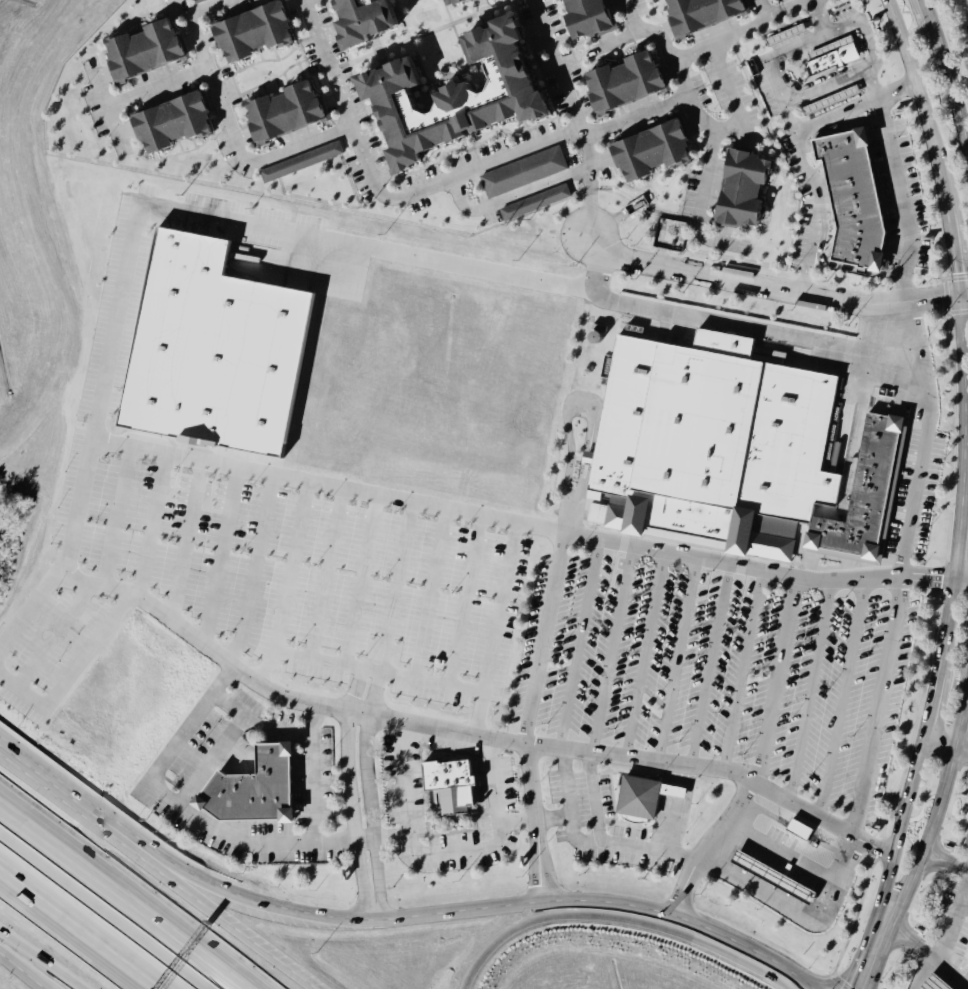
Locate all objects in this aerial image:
building: (199, 1)
road: (809, 1)
road: (812, 1)
building: (467, 2)
road: (795, 6)
road: (213, 8)
building: (708, 14)
building: (592, 18)
road: (817, 18)
road: (928, 18)
building: (375, 21)
road: (744, 28)
building: (260, 32)
road: (646, 35)
road: (867, 40)
building: (151, 50)
road: (777, 56)
building: (836, 56)
road: (324, 64)
road: (558, 68)
building: (632, 82)
road: (160, 84)
road: (827, 85)
road: (895, 90)
road: (953, 96)
building: (466, 97)
building: (830, 101)
building: (290, 112)
road: (834, 114)
road: (787, 116)
building: (179, 123)
road: (729, 128)
road: (519, 150)
building: (659, 152)
building: (303, 163)
building: (525, 173)
road: (590, 178)
road: (420, 187)
building: (750, 189)
road: (898, 198)
building: (849, 200)
building: (537, 203)
road: (589, 212)
road: (817, 212)
road: (145, 223)
road: (951, 255)
road: (772, 290)
road: (732, 329)
building: (214, 350)
road: (580, 404)
building: (709, 446)
road: (332, 484)
parking lot: (913, 494)
building: (862, 498)
road: (572, 534)
road: (956, 548)
road: (960, 577)
road: (102, 584)
road: (945, 627)
road: (577, 644)
road: (610, 650)
road: (644, 655)
road: (675, 661)
road: (709, 666)
parking lot: (714, 670)
road: (740, 671)
road: (82, 672)
road: (881, 679)
road: (775, 681)
road: (809, 691)
road: (840, 699)
road: (930, 706)
road: (275, 729)
road: (438, 730)
road: (938, 743)
road: (222, 747)
road: (960, 752)
road: (310, 773)
building: (445, 786)
building: (249, 789)
building: (670, 792)
building: (635, 798)
road: (596, 800)
road: (79, 810)
road: (352, 818)
road: (553, 818)
road: (374, 819)
road: (822, 820)
road: (201, 821)
road: (516, 822)
building: (796, 830)
road: (927, 841)
road: (589, 845)
road: (707, 846)
road: (442, 848)
road: (936, 849)
road: (779, 855)
road: (889, 863)
road: (956, 863)
road: (931, 864)
building: (769, 878)
gas station: (769, 878)
road: (116, 901)
road: (963, 906)
road: (489, 908)
road: (616, 919)
road: (79, 927)
road: (238, 929)
road: (901, 929)
road: (946, 936)
road: (895, 943)
road: (920, 947)
road: (36, 964)
road: (28, 965)
road: (950, 970)
building: (931, 984)

